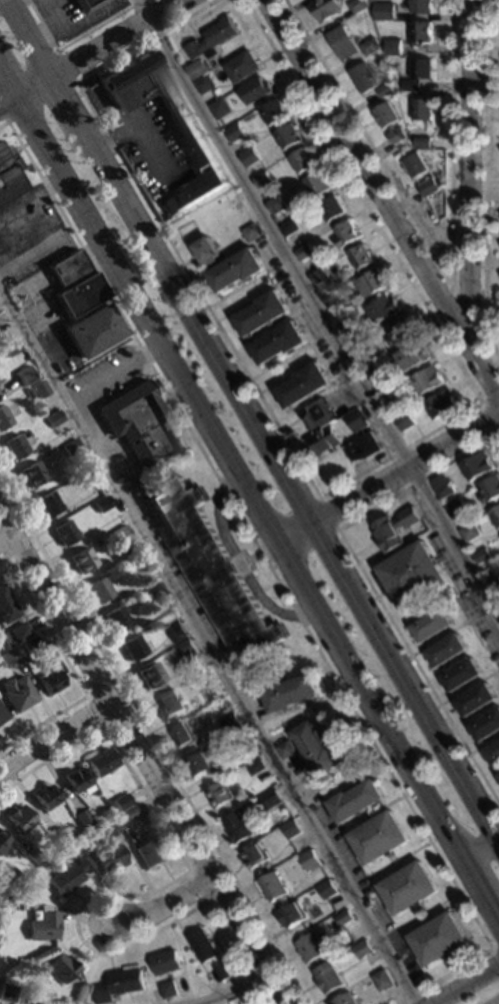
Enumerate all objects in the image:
building: (86, 5)
building: (358, 6)
building: (422, 7)
building: (325, 9)
building: (384, 12)
parking lot: (74, 22)
building: (420, 33)
road: (29, 37)
road: (72, 38)
road: (118, 39)
building: (211, 40)
building: (342, 43)
building: (369, 47)
building: (392, 48)
building: (241, 67)
building: (420, 69)
building: (196, 70)
road: (71, 77)
building: (363, 78)
building: (203, 85)
road: (7, 86)
building: (410, 86)
road: (33, 88)
building: (255, 90)
building: (384, 90)
road: (101, 96)
road: (67, 103)
road: (7, 104)
building: (218, 108)
building: (421, 110)
building: (273, 112)
building: (388, 121)
road: (139, 128)
building: (233, 133)
building: (410, 134)
building: (287, 136)
building: (188, 137)
road: (366, 140)
road: (450, 140)
building: (422, 143)
parking lot: (151, 148)
building: (247, 157)
building: (301, 160)
building: (414, 165)
building: (9, 175)
road: (469, 176)
building: (260, 180)
road: (485, 183)
building: (315, 185)
road: (50, 187)
building: (427, 188)
road: (382, 201)
building: (274, 204)
road: (20, 208)
building: (329, 208)
building: (282, 219)
building: (287, 228)
building: (250, 232)
parking lot: (32, 235)
building: (344, 235)
road: (48, 243)
building: (207, 250)
building: (302, 252)
building: (359, 257)
building: (235, 269)
road: (3, 270)
building: (316, 276)
building: (264, 280)
building: (72, 284)
building: (370, 284)
road: (451, 285)
road: (469, 291)
road: (437, 295)
building: (333, 304)
building: (383, 308)
road: (316, 310)
building: (261, 312)
building: (346, 326)
building: (90, 332)
building: (398, 332)
building: (278, 342)
building: (360, 347)
building: (8, 349)
building: (411, 357)
road: (113, 371)
building: (374, 373)
building: (23, 375)
building: (427, 380)
building: (303, 384)
building: (39, 388)
building: (27, 392)
parking lot: (108, 393)
building: (388, 398)
building: (441, 403)
road: (483, 408)
building: (316, 415)
building: (51, 419)
building: (3, 420)
building: (355, 421)
building: (403, 421)
building: (141, 427)
building: (324, 440)
building: (12, 447)
building: (363, 447)
building: (70, 448)
building: (476, 466)
building: (30, 475)
building: (86, 477)
road: (389, 478)
road: (244, 484)
road: (291, 484)
building: (440, 486)
building: (489, 489)
road: (322, 495)
building: (46, 505)
building: (102, 505)
building: (454, 509)
road: (327, 513)
building: (495, 515)
building: (394, 529)
building: (468, 532)
building: (64, 533)
building: (120, 535)
road: (7, 539)
road: (14, 549)
road: (257, 554)
building: (480, 556)
road: (247, 558)
building: (82, 560)
building: (240, 563)
road: (240, 564)
building: (210, 566)
building: (411, 575)
road: (275, 580)
parking lot: (186, 583)
building: (494, 584)
road: (369, 585)
building: (97, 590)
building: (151, 591)
building: (6, 607)
building: (114, 619)
building: (433, 624)
building: (17, 632)
building: (176, 633)
building: (3, 643)
building: (28, 644)
road: (211, 645)
building: (135, 647)
building: (186, 648)
building: (448, 649)
building: (9, 657)
road: (69, 668)
building: (149, 674)
building: (462, 675)
building: (49, 681)
building: (16, 693)
building: (289, 693)
road: (86, 697)
building: (476, 699)
building: (170, 704)
road: (299, 708)
building: (2, 714)
building: (229, 722)
building: (486, 725)
building: (183, 735)
road: (55, 738)
building: (240, 738)
road: (152, 743)
building: (316, 749)
building: (286, 750)
building: (494, 753)
road: (143, 757)
building: (101, 761)
building: (201, 764)
building: (257, 767)
building: (498, 775)
building: (76, 782)
building: (219, 795)
road: (401, 796)
building: (45, 797)
building: (271, 798)
building: (120, 801)
building: (354, 801)
building: (126, 813)
building: (81, 818)
building: (19, 819)
road: (360, 819)
road: (368, 819)
building: (237, 827)
building: (108, 828)
building: (291, 828)
building: (56, 836)
building: (378, 837)
building: (2, 842)
road: (428, 842)
road: (482, 851)
road: (410, 852)
building: (33, 855)
building: (147, 855)
building: (255, 855)
road: (389, 856)
building: (109, 857)
building: (310, 859)
road: (397, 860)
road: (397, 869)
parking lot: (354, 870)
road: (187, 871)
building: (69, 875)
road: (371, 875)
building: (11, 876)
building: (273, 886)
building: (327, 888)
building: (408, 888)
road: (457, 893)
road: (129, 894)
road: (484, 897)
road: (439, 903)
road: (168, 906)
road: (419, 907)
road: (426, 911)
building: (292, 914)
building: (344, 918)
road: (427, 920)
building: (44, 926)
road: (401, 926)
building: (438, 939)
building: (202, 945)
building: (309, 948)
building: (362, 949)
road: (494, 950)
building: (164, 962)
road: (452, 962)
building: (62, 968)
building: (221, 972)
building: (327, 978)
building: (382, 980)
building: (117, 984)
road: (467, 984)
road: (238, 988)
building: (168, 990)
building: (6, 994)
building: (343, 999)

